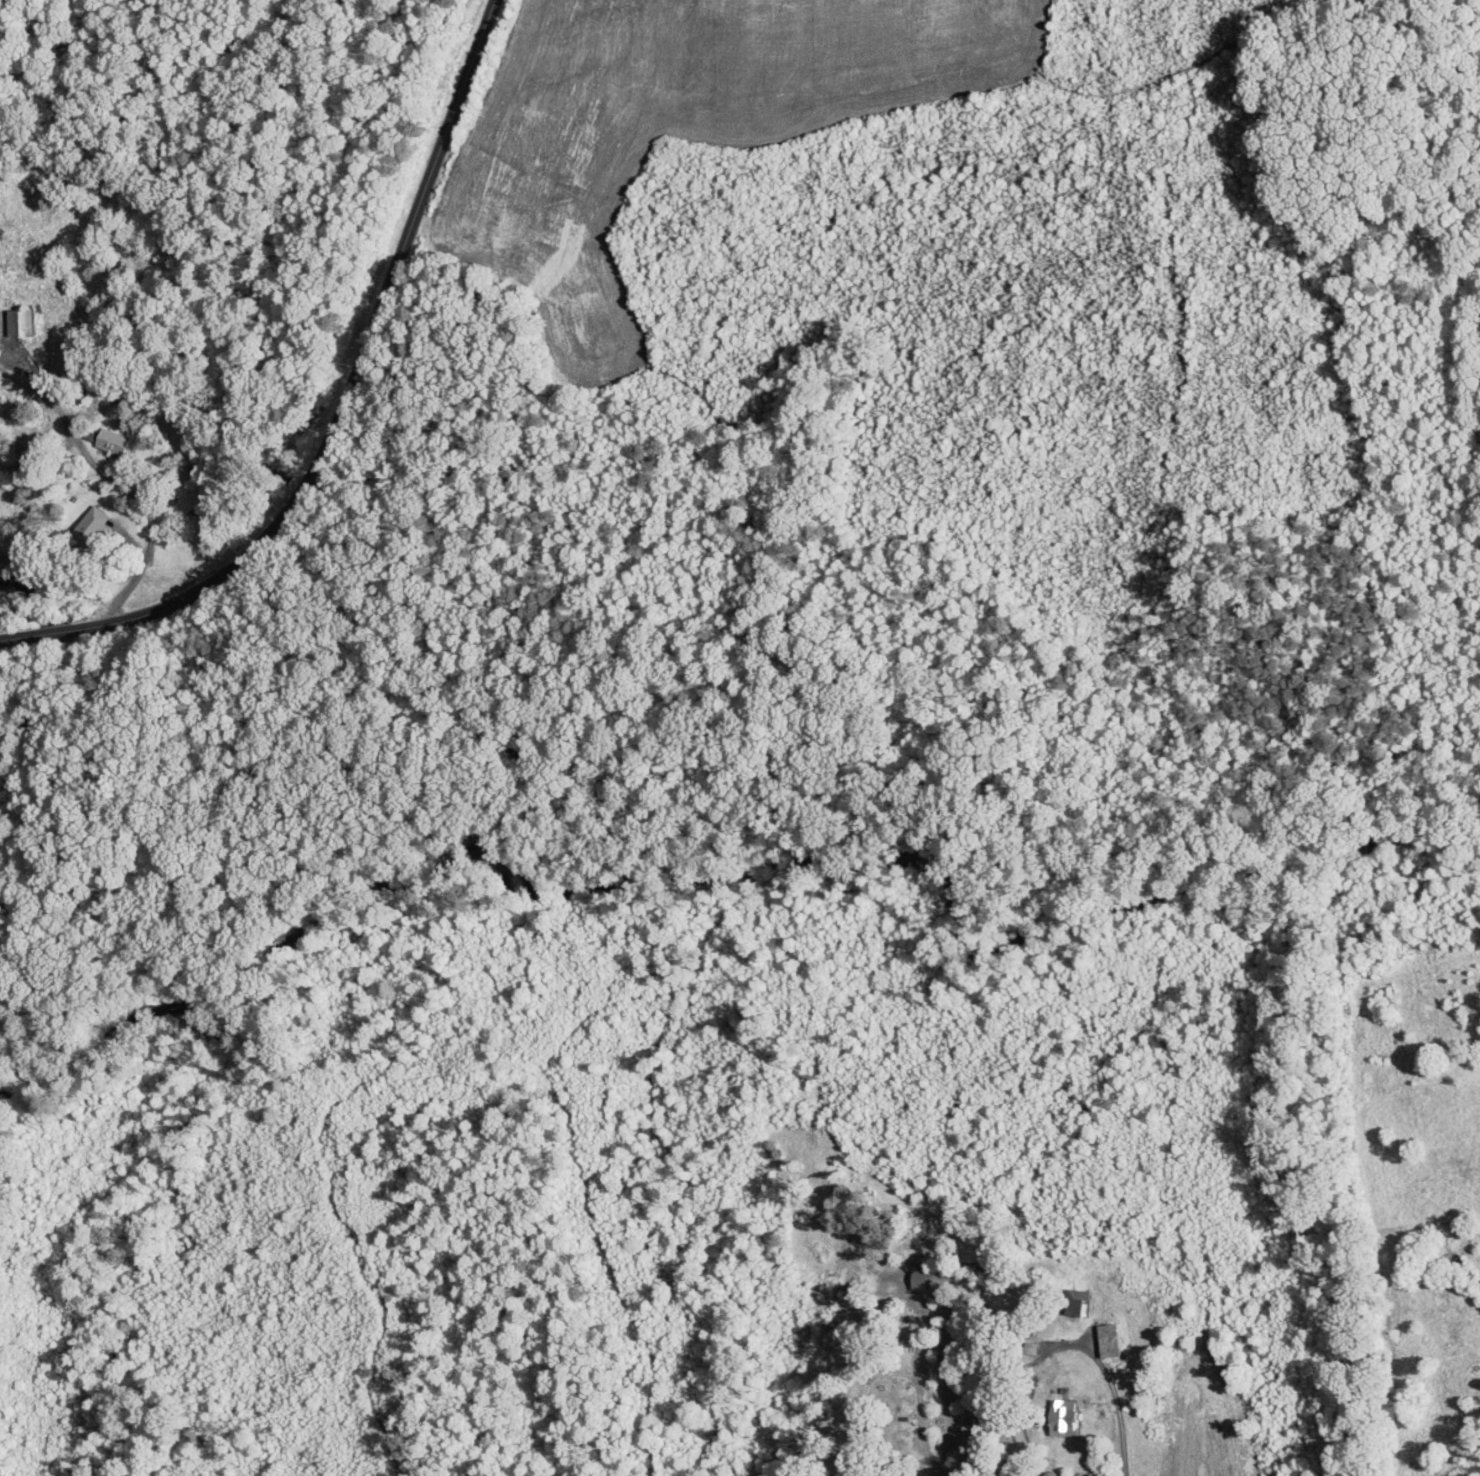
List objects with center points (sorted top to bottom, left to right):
building: (25, 323)
road: (357, 370)
building: (117, 443)
road: (112, 483)
road: (45, 633)
building: (922, 1280)
building: (1080, 1303)
building: (1111, 1342)
road: (1108, 1376)
building: (1066, 1419)

